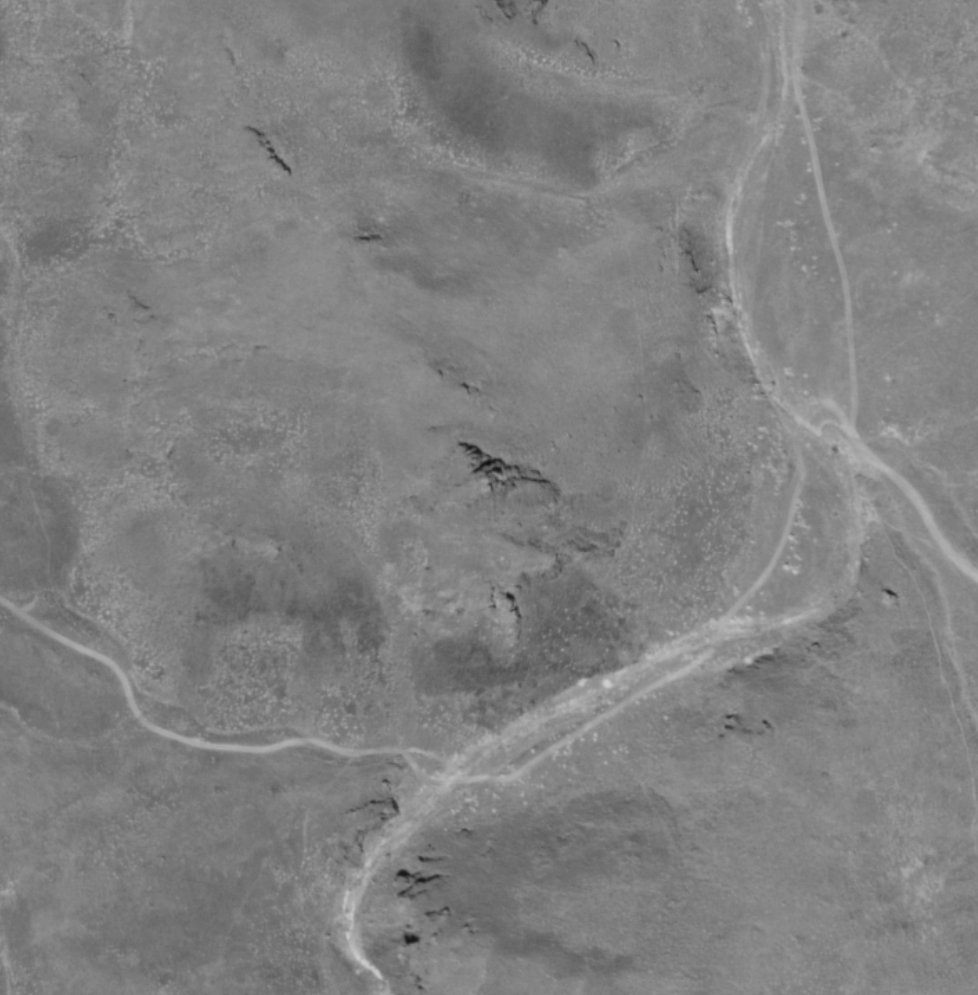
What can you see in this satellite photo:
road: (828, 221)
road: (922, 504)
road: (509, 776)

